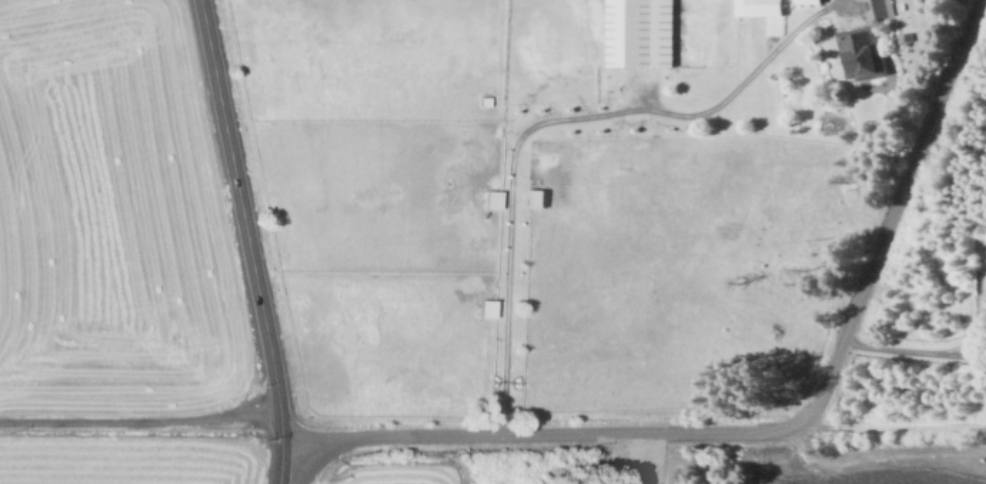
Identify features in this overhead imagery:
building: (809, 1)
building: (759, 7)
building: (880, 9)
building: (641, 33)
building: (862, 52)
road: (545, 121)
building: (536, 197)
building: (492, 198)
crop: (557, 221)
road: (246, 241)
crop: (115, 257)
building: (487, 307)
road: (913, 350)
road: (139, 421)
road: (887, 425)
road: (770, 432)
road: (793, 448)
road: (898, 452)

